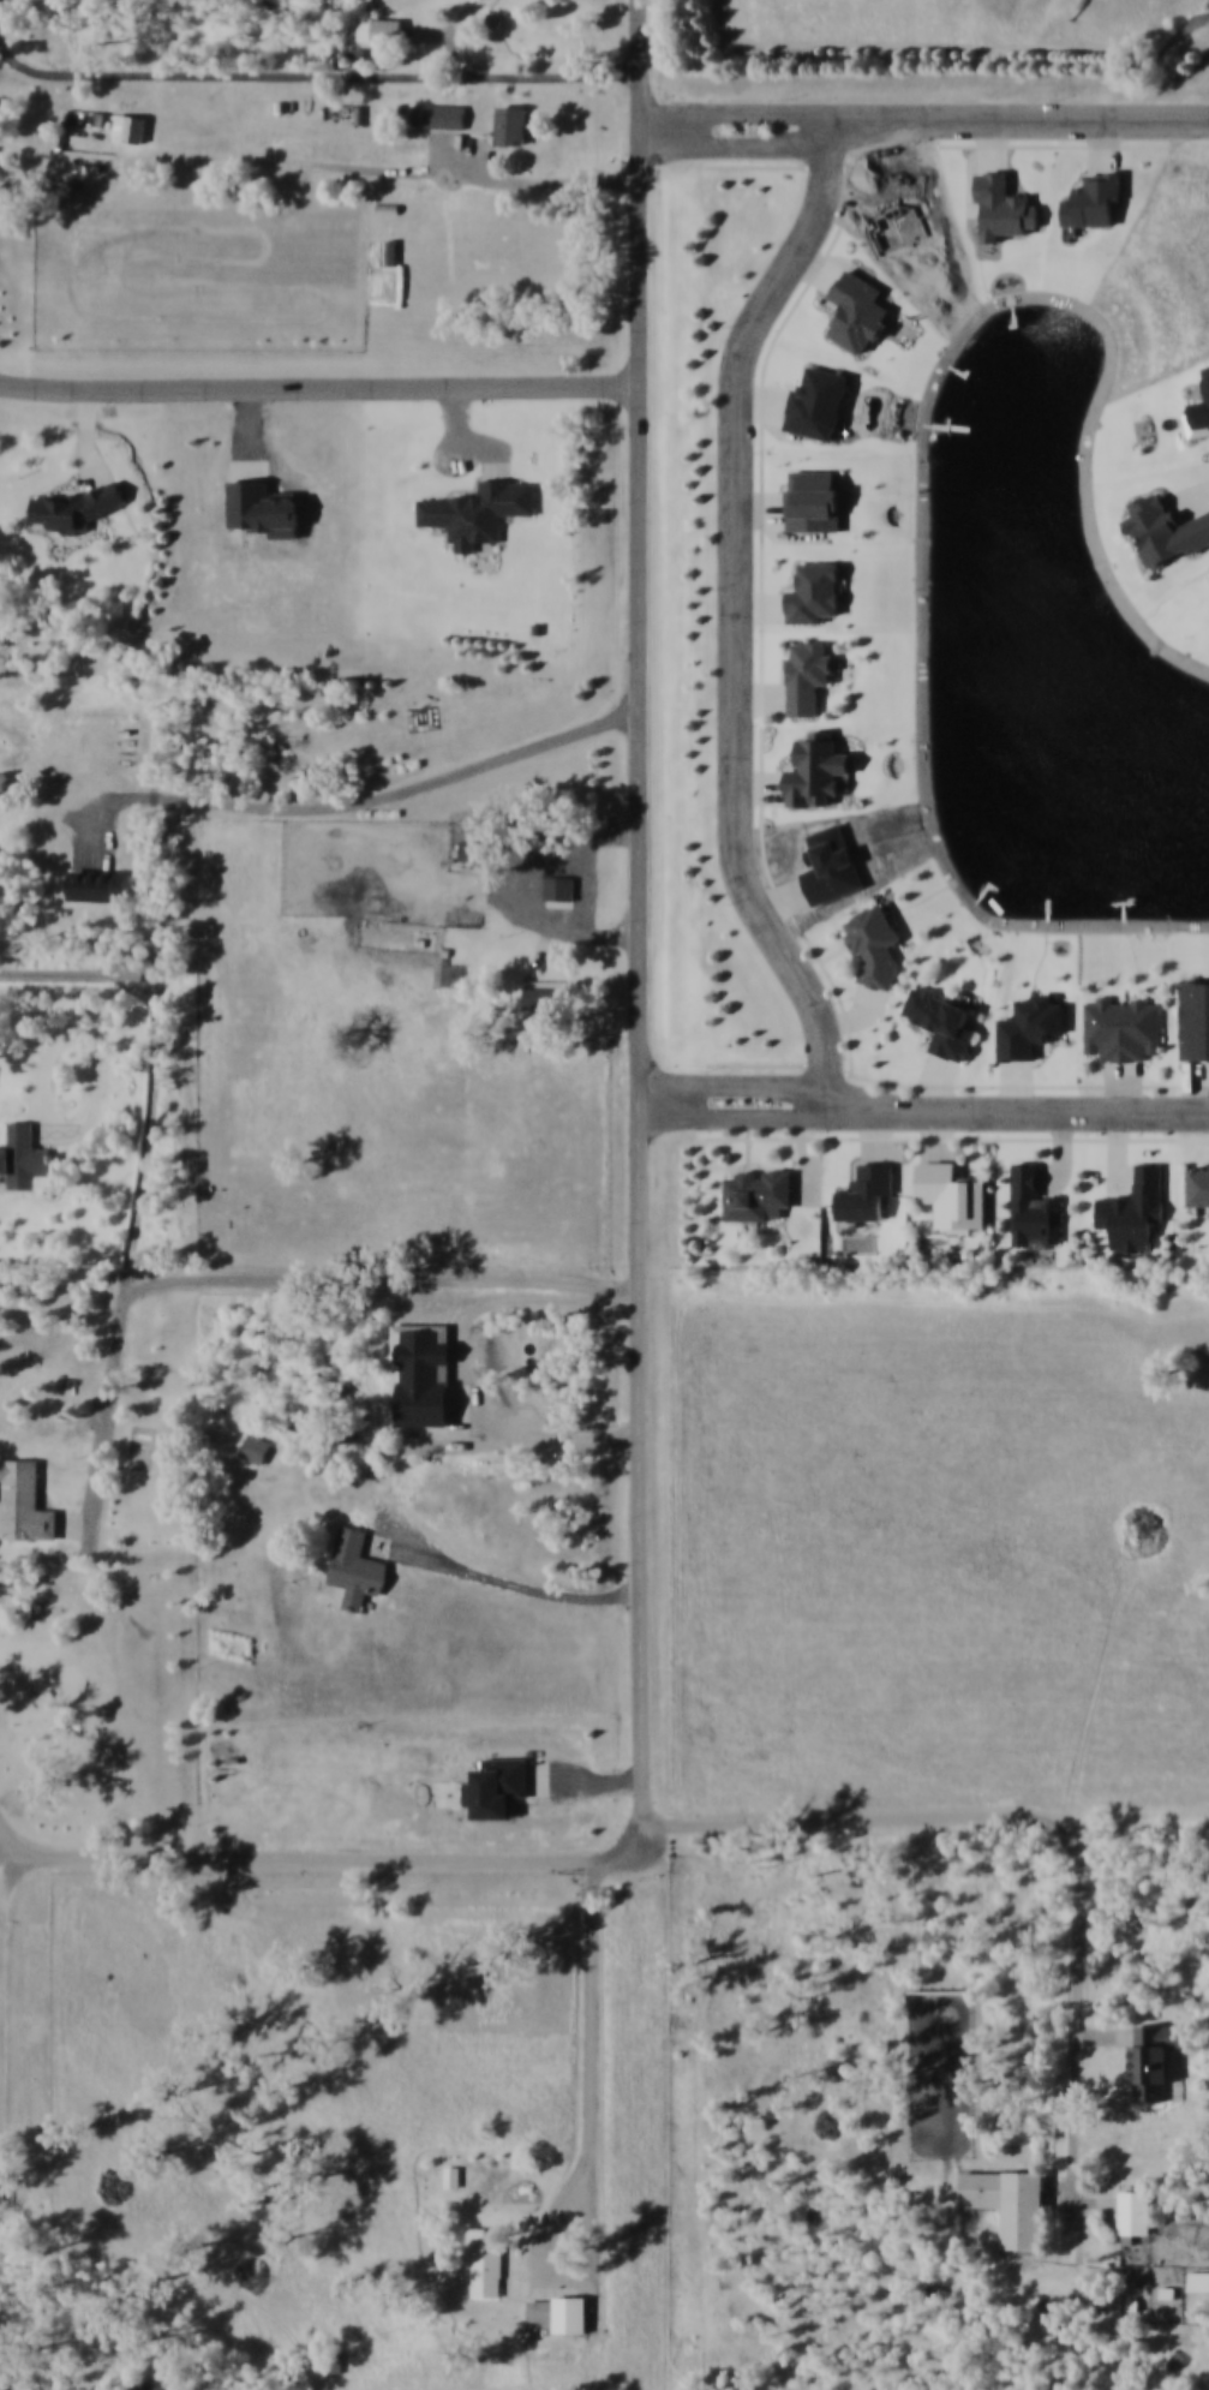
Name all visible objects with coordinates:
road: (472, 8)
building: (383, 32)
road: (946, 53)
road: (237, 76)
road: (514, 77)
road: (735, 109)
building: (442, 118)
road: (1017, 124)
building: (516, 127)
building: (134, 131)
road: (738, 144)
road: (998, 147)
road: (994, 150)
road: (450, 153)
road: (377, 173)
building: (1004, 211)
road: (321, 388)
building: (816, 402)
road: (456, 419)
road: (85, 442)
road: (489, 448)
road: (1190, 498)
building: (813, 506)
building: (265, 507)
building: (82, 510)
road: (760, 513)
building: (481, 515)
road: (764, 526)
building: (1167, 534)
building: (813, 592)
road: (734, 608)
building: (806, 676)
road: (760, 695)
road: (26, 751)
building: (815, 776)
road: (760, 791)
road: (343, 806)
building: (475, 850)
building: (95, 884)
building: (561, 886)
road: (642, 933)
building: (874, 944)
road: (82, 974)
building: (545, 994)
road: (840, 998)
road: (861, 1021)
building: (941, 1021)
building: (1123, 1026)
building: (1195, 1026)
building: (1029, 1034)
road: (942, 1079)
road: (734, 1080)
road: (1018, 1086)
road: (1127, 1086)
road: (959, 1087)
road: (1196, 1089)
road: (1015, 1105)
road: (735, 1115)
road: (881, 1129)
road: (944, 1130)
road: (66, 1133)
road: (958, 1139)
road: (812, 1152)
road: (1118, 1152)
road: (1072, 1158)
building: (28, 1161)
road: (144, 1175)
building: (1197, 1183)
building: (756, 1191)
building: (863, 1191)
building: (951, 1194)
building: (1033, 1207)
building: (1133, 1208)
road: (384, 1278)
building: (425, 1374)
building: (259, 1453)
road: (360, 1500)
building: (28, 1507)
road: (79, 1524)
building: (360, 1573)
road: (504, 1582)
building: (4, 1596)
building: (499, 1789)
road: (1061, 1830)
road: (28, 1851)
road: (339, 1857)
road: (32, 1860)
road: (25, 1882)
road: (1111, 2035)
building: (1160, 2057)
road: (592, 2066)
building: (455, 2175)
road: (0, 2186)
building: (1016, 2201)
building: (1139, 2210)
building: (491, 2260)
building: (564, 2312)

